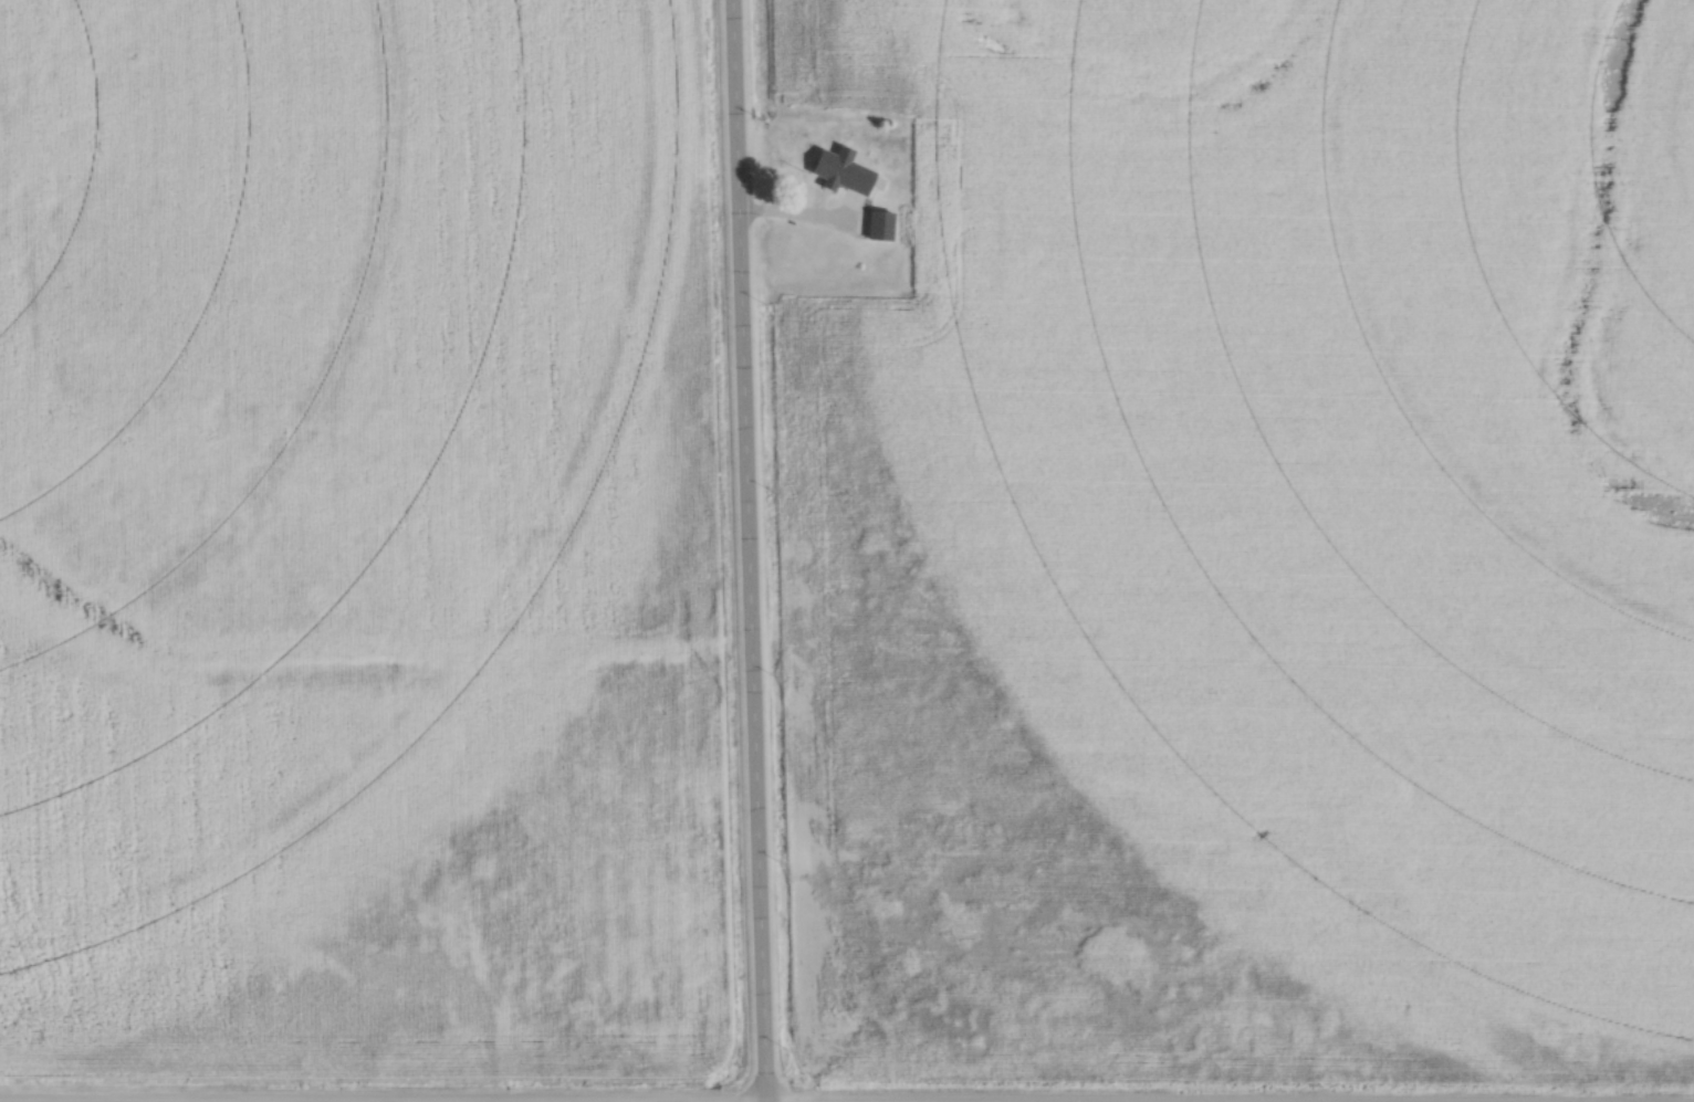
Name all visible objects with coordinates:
building: (844, 174)
road: (747, 550)

